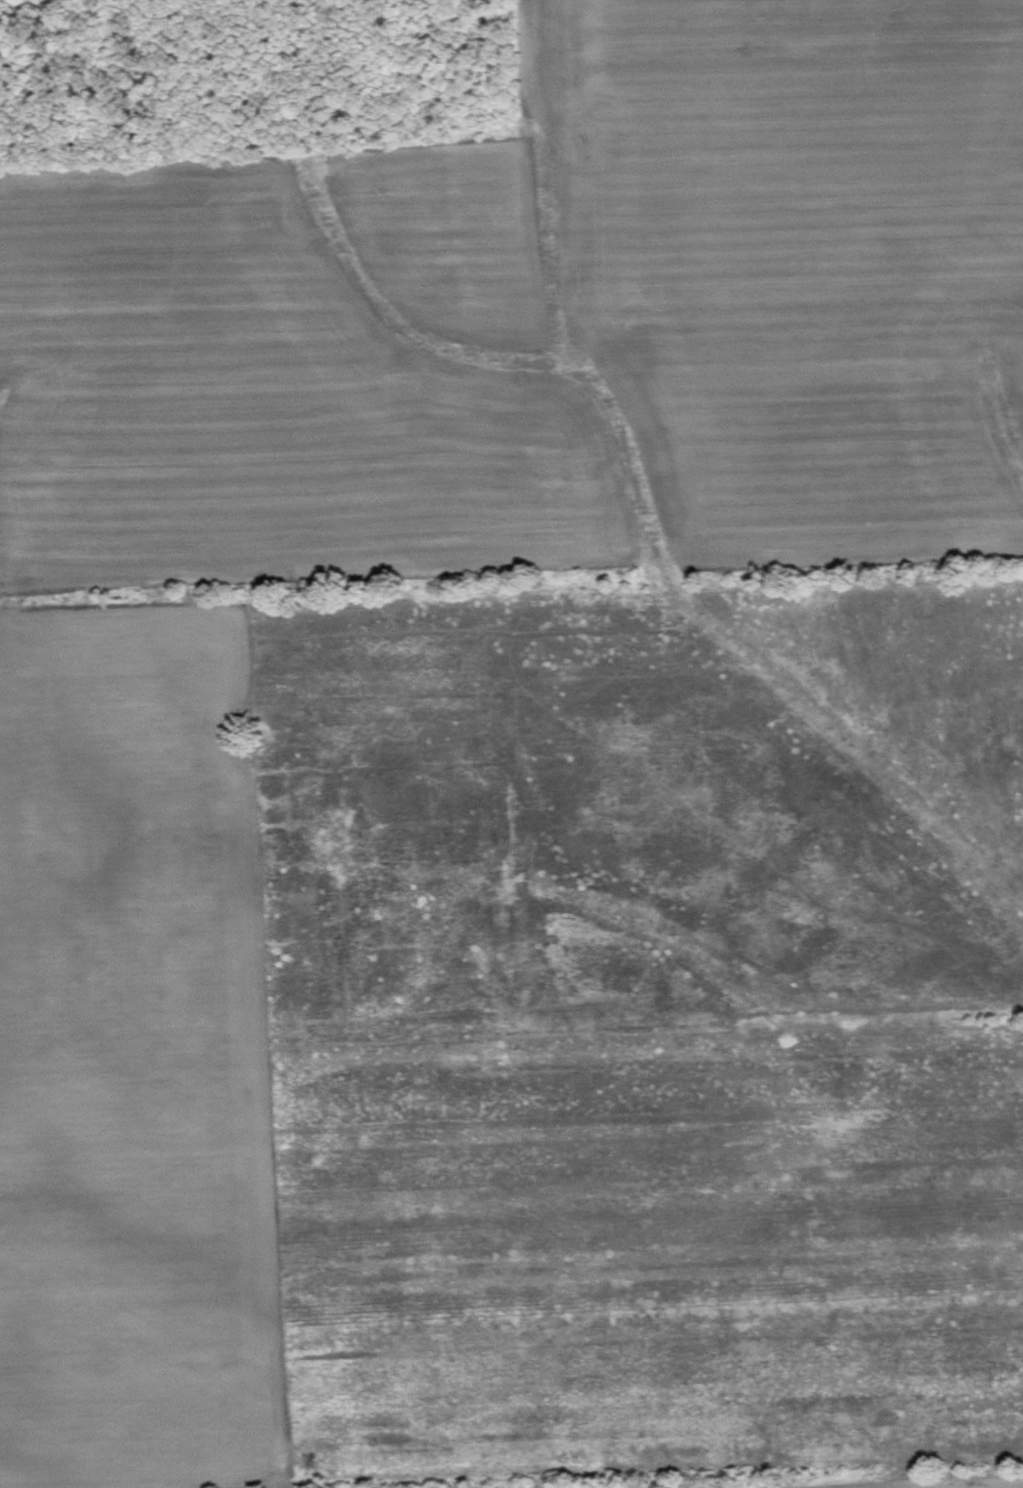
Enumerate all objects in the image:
road: (253, 1460)

